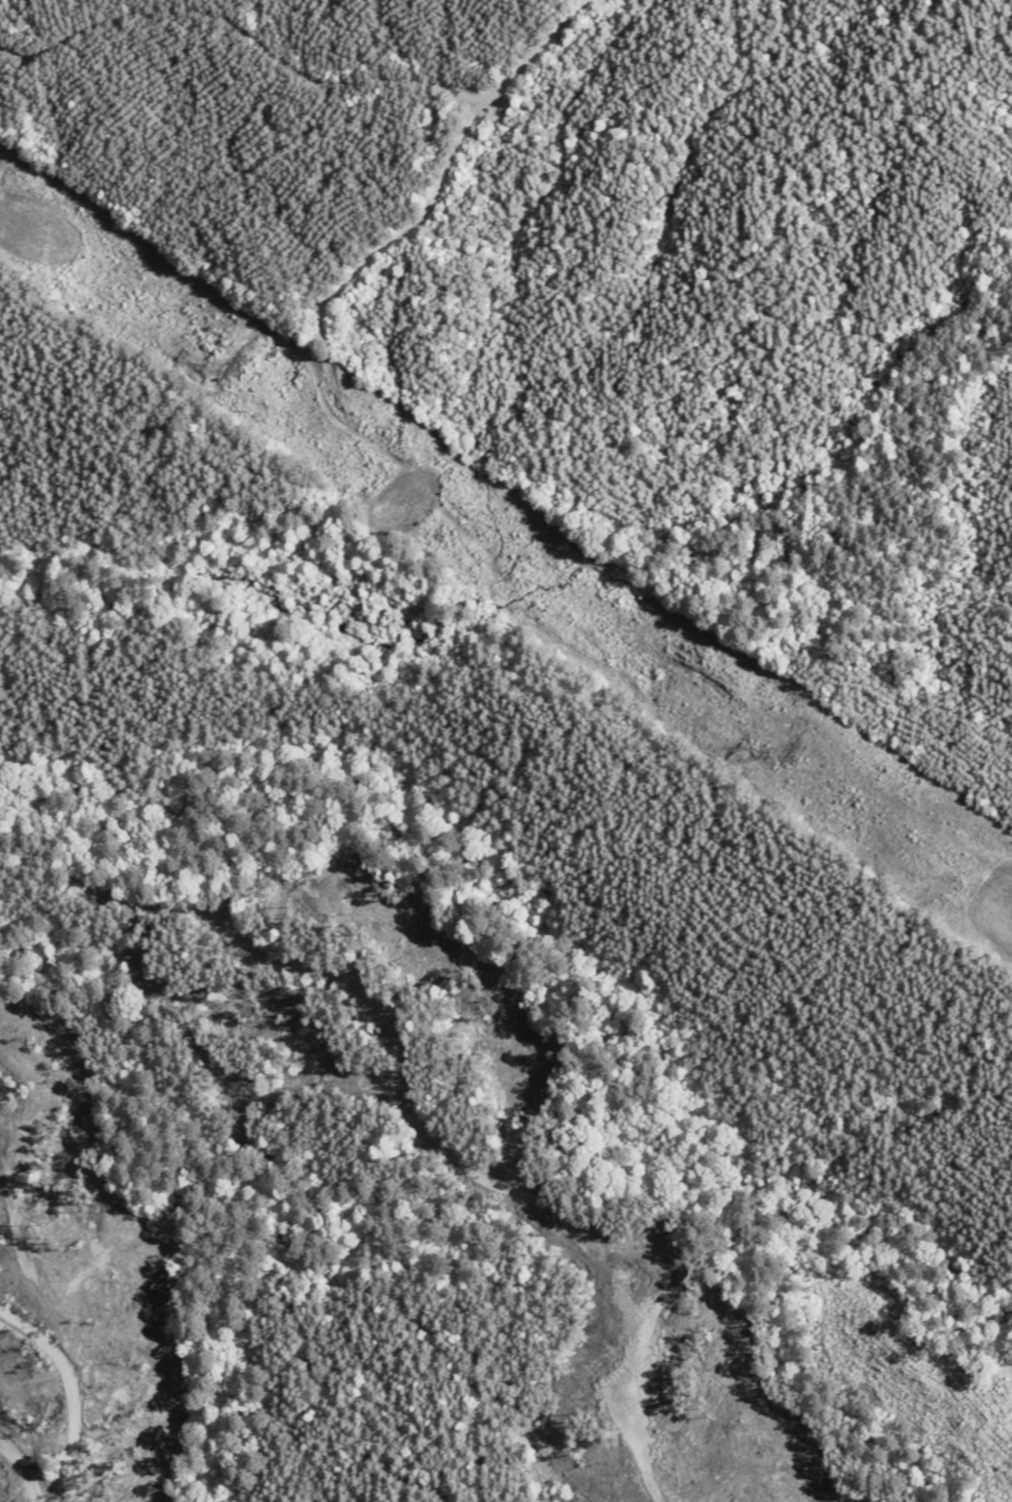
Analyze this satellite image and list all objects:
power tower: (249, 366)
power tower: (805, 754)
road: (47, 1432)

